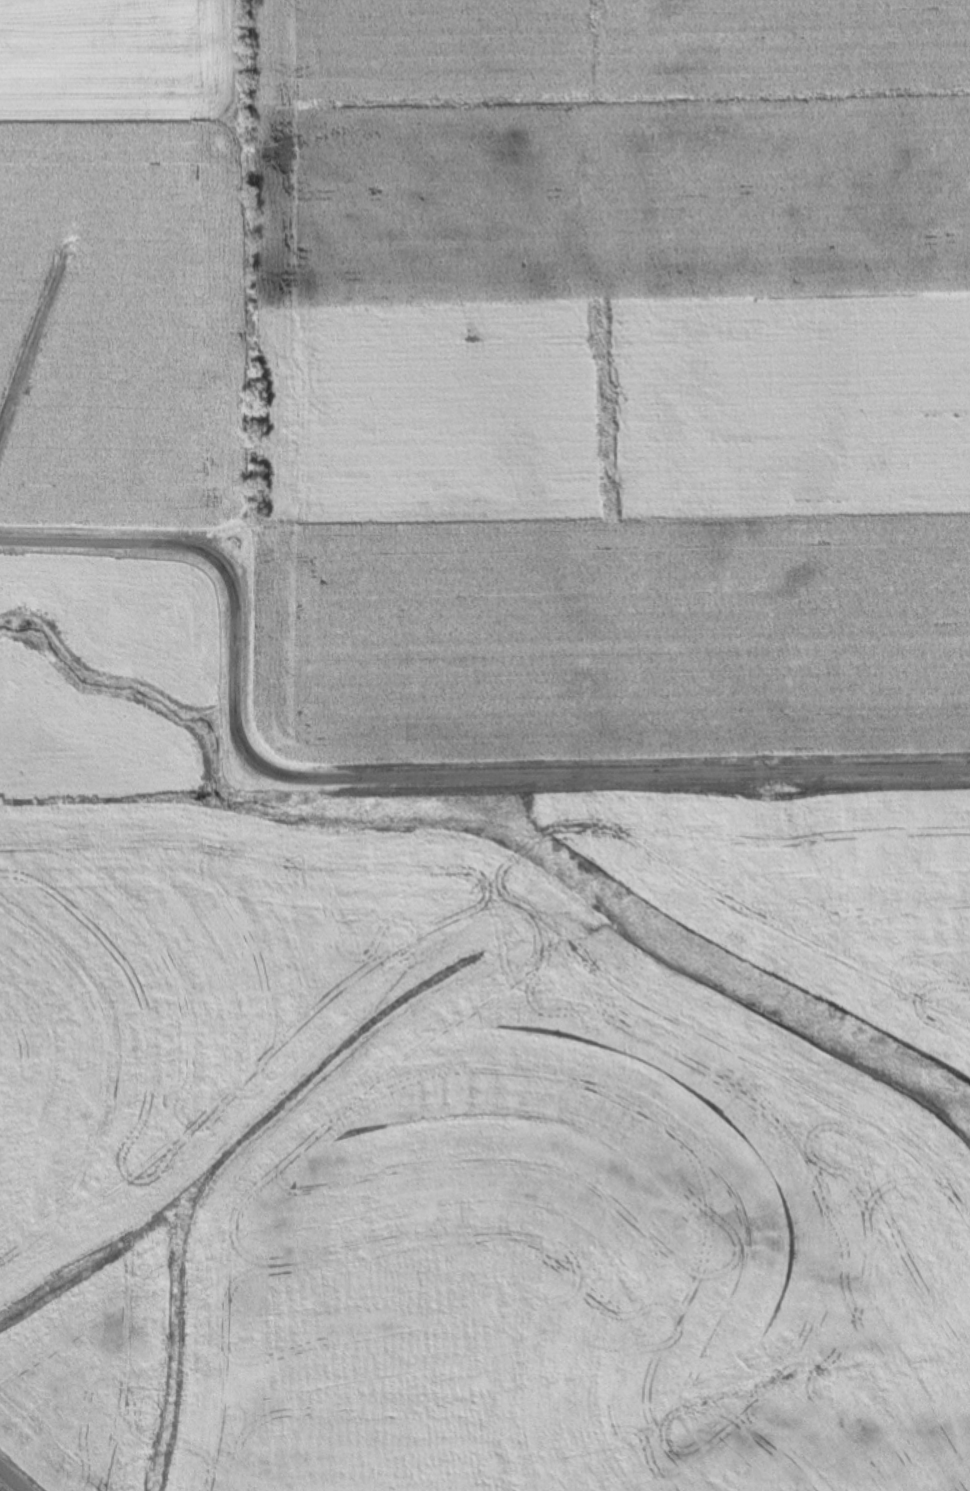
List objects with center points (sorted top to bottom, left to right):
road: (395, 775)
road: (11, 1480)

